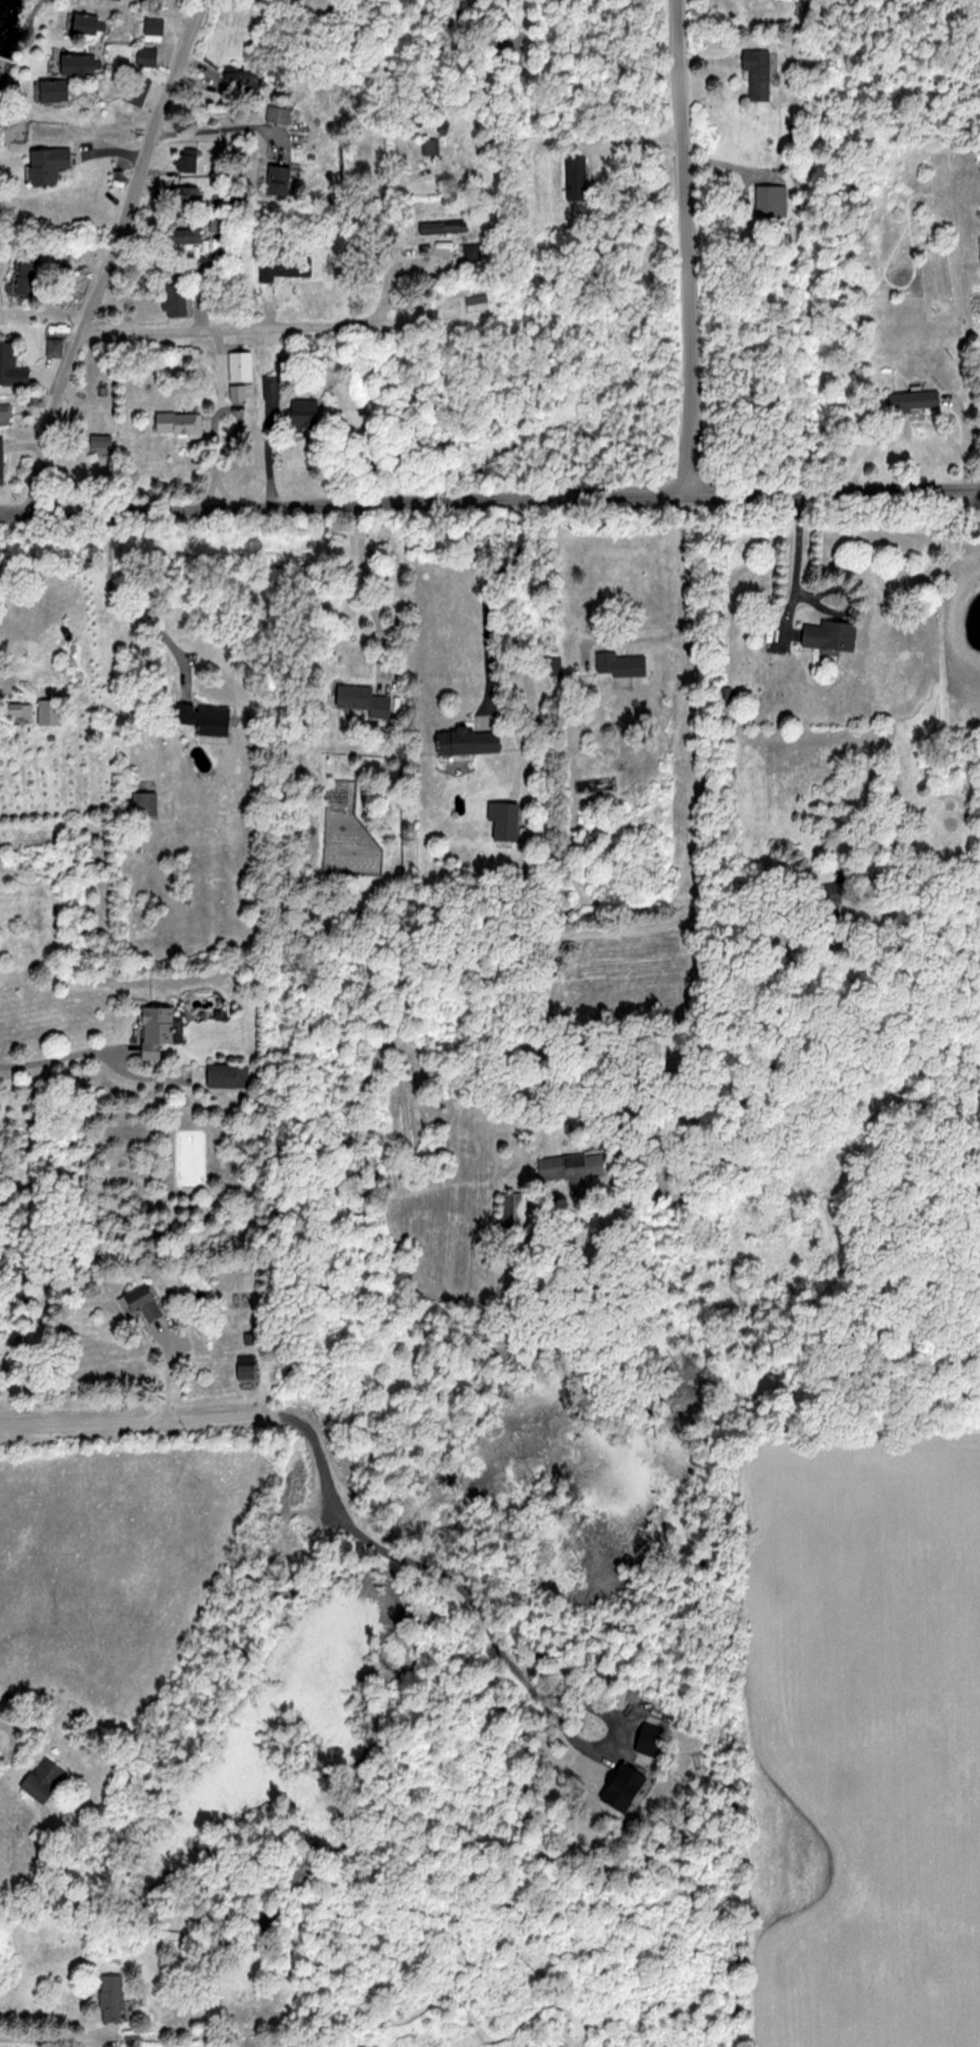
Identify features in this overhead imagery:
building: (88, 23)
building: (156, 25)
building: (150, 55)
building: (81, 63)
building: (762, 72)
building: (244, 75)
building: (140, 88)
building: (55, 90)
building: (280, 113)
road: (223, 126)
building: (39, 127)
road: (632, 142)
building: (432, 146)
building: (190, 159)
building: (50, 164)
building: (579, 177)
building: (283, 178)
building: (190, 193)
building: (785, 200)
building: (446, 226)
building: (190, 235)
road: (690, 236)
building: (474, 251)
road: (119, 256)
road: (391, 264)
building: (285, 267)
building: (30, 274)
building: (179, 299)
building: (941, 312)
road: (225, 328)
building: (56, 342)
building: (13, 366)
road: (217, 369)
building: (911, 400)
building: (5, 412)
building: (309, 412)
building: (180, 422)
road: (212, 425)
building: (3, 461)
road: (830, 489)
road: (222, 493)
road: (351, 503)
road: (797, 545)
road: (365, 587)
road: (484, 593)
road: (121, 611)
building: (835, 635)
road: (630, 636)
building: (624, 664)
road: (1, 679)
building: (367, 700)
building: (210, 718)
building: (473, 741)
building: (145, 803)
building: (507, 820)
road: (921, 876)
road: (699, 880)
building: (161, 1032)
road: (55, 1060)
building: (228, 1075)
building: (574, 1165)
building: (516, 1209)
building: (150, 1302)
building: (249, 1367)
road: (198, 1417)
road: (476, 1616)
building: (41, 1779)
building: (169, 1940)
building: (109, 1999)
road: (51, 2040)

